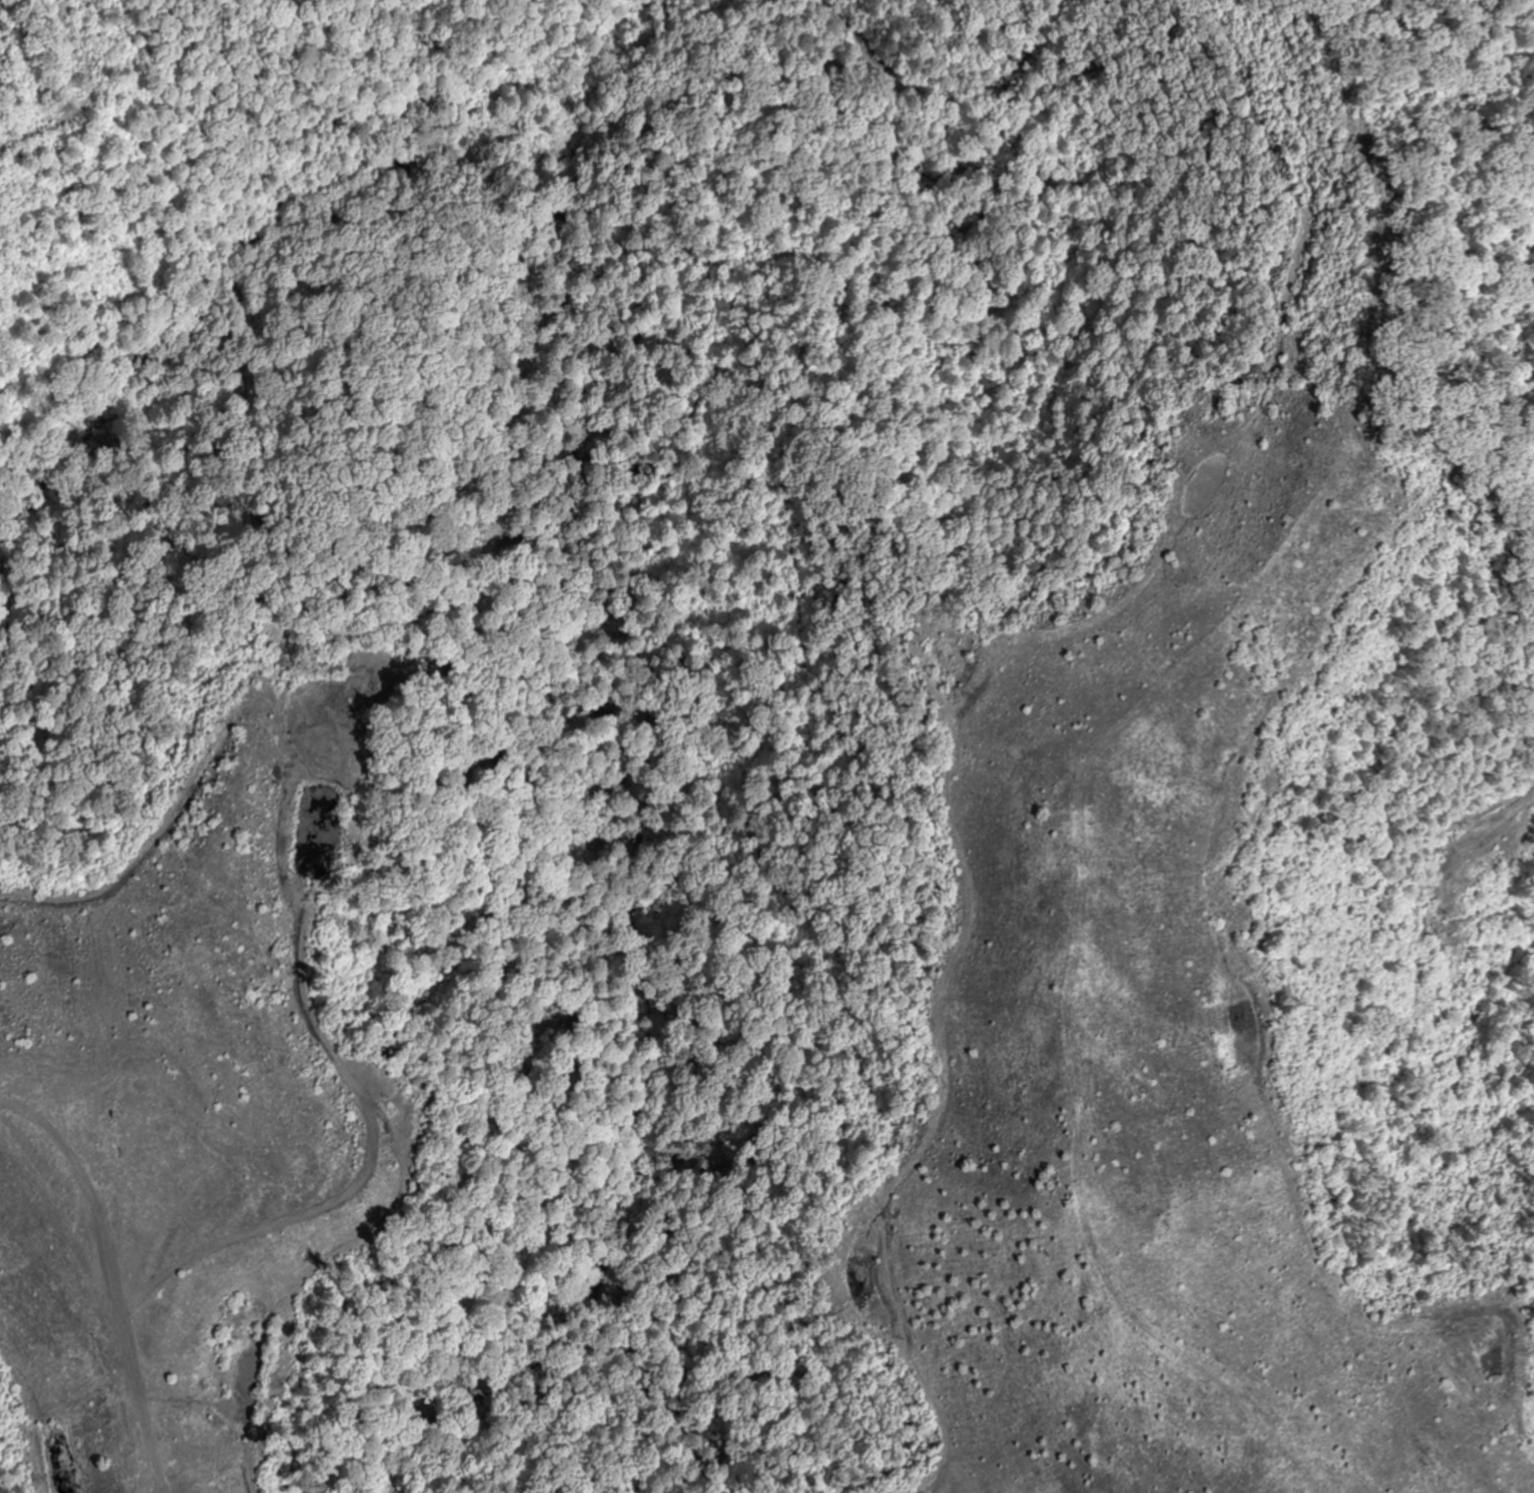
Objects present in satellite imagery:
road: (623, 50)
road: (919, 93)
road: (540, 148)

